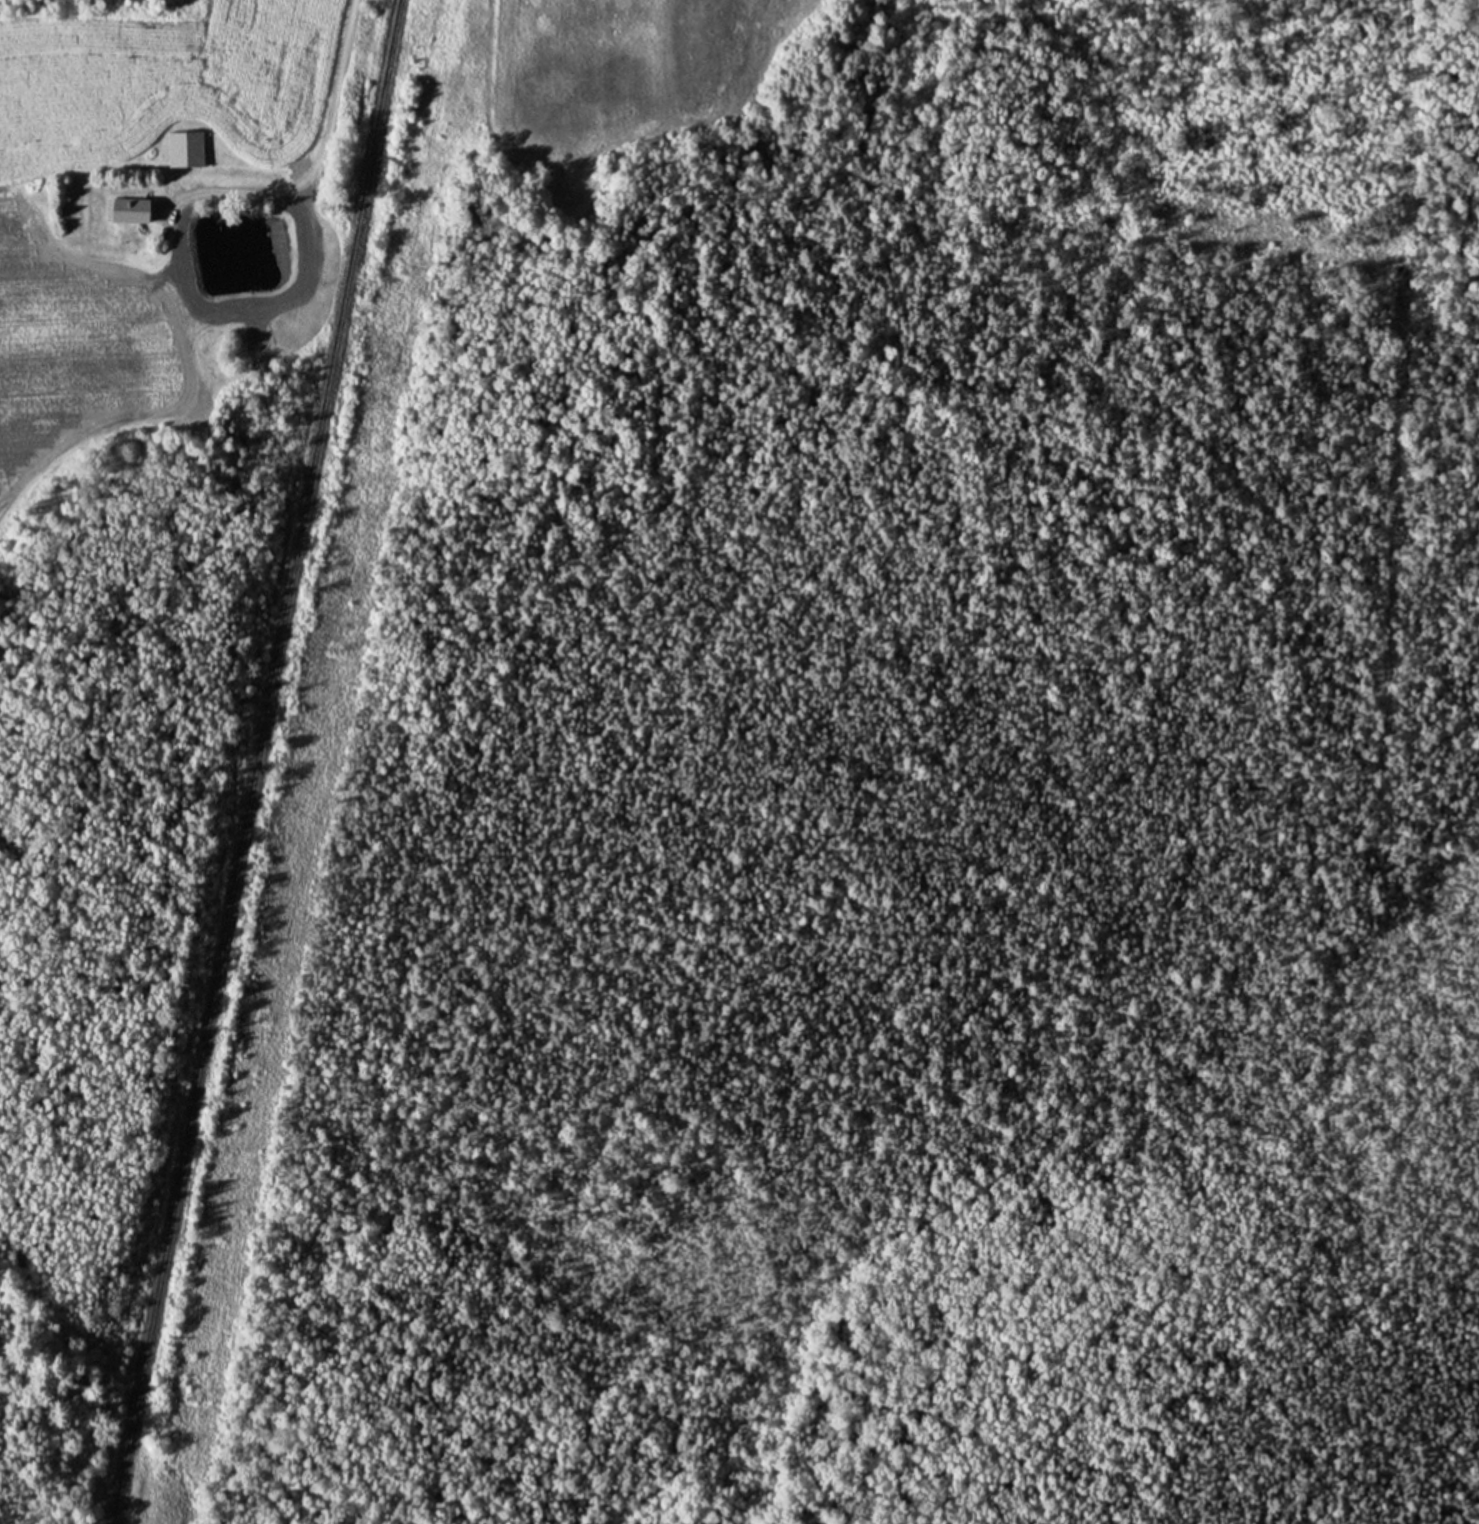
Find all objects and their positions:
road: (318, 162)
building: (126, 211)
power tower: (402, 270)
power tower: (332, 649)
railway: (254, 761)
power tower: (263, 1016)
power tower: (192, 1397)

